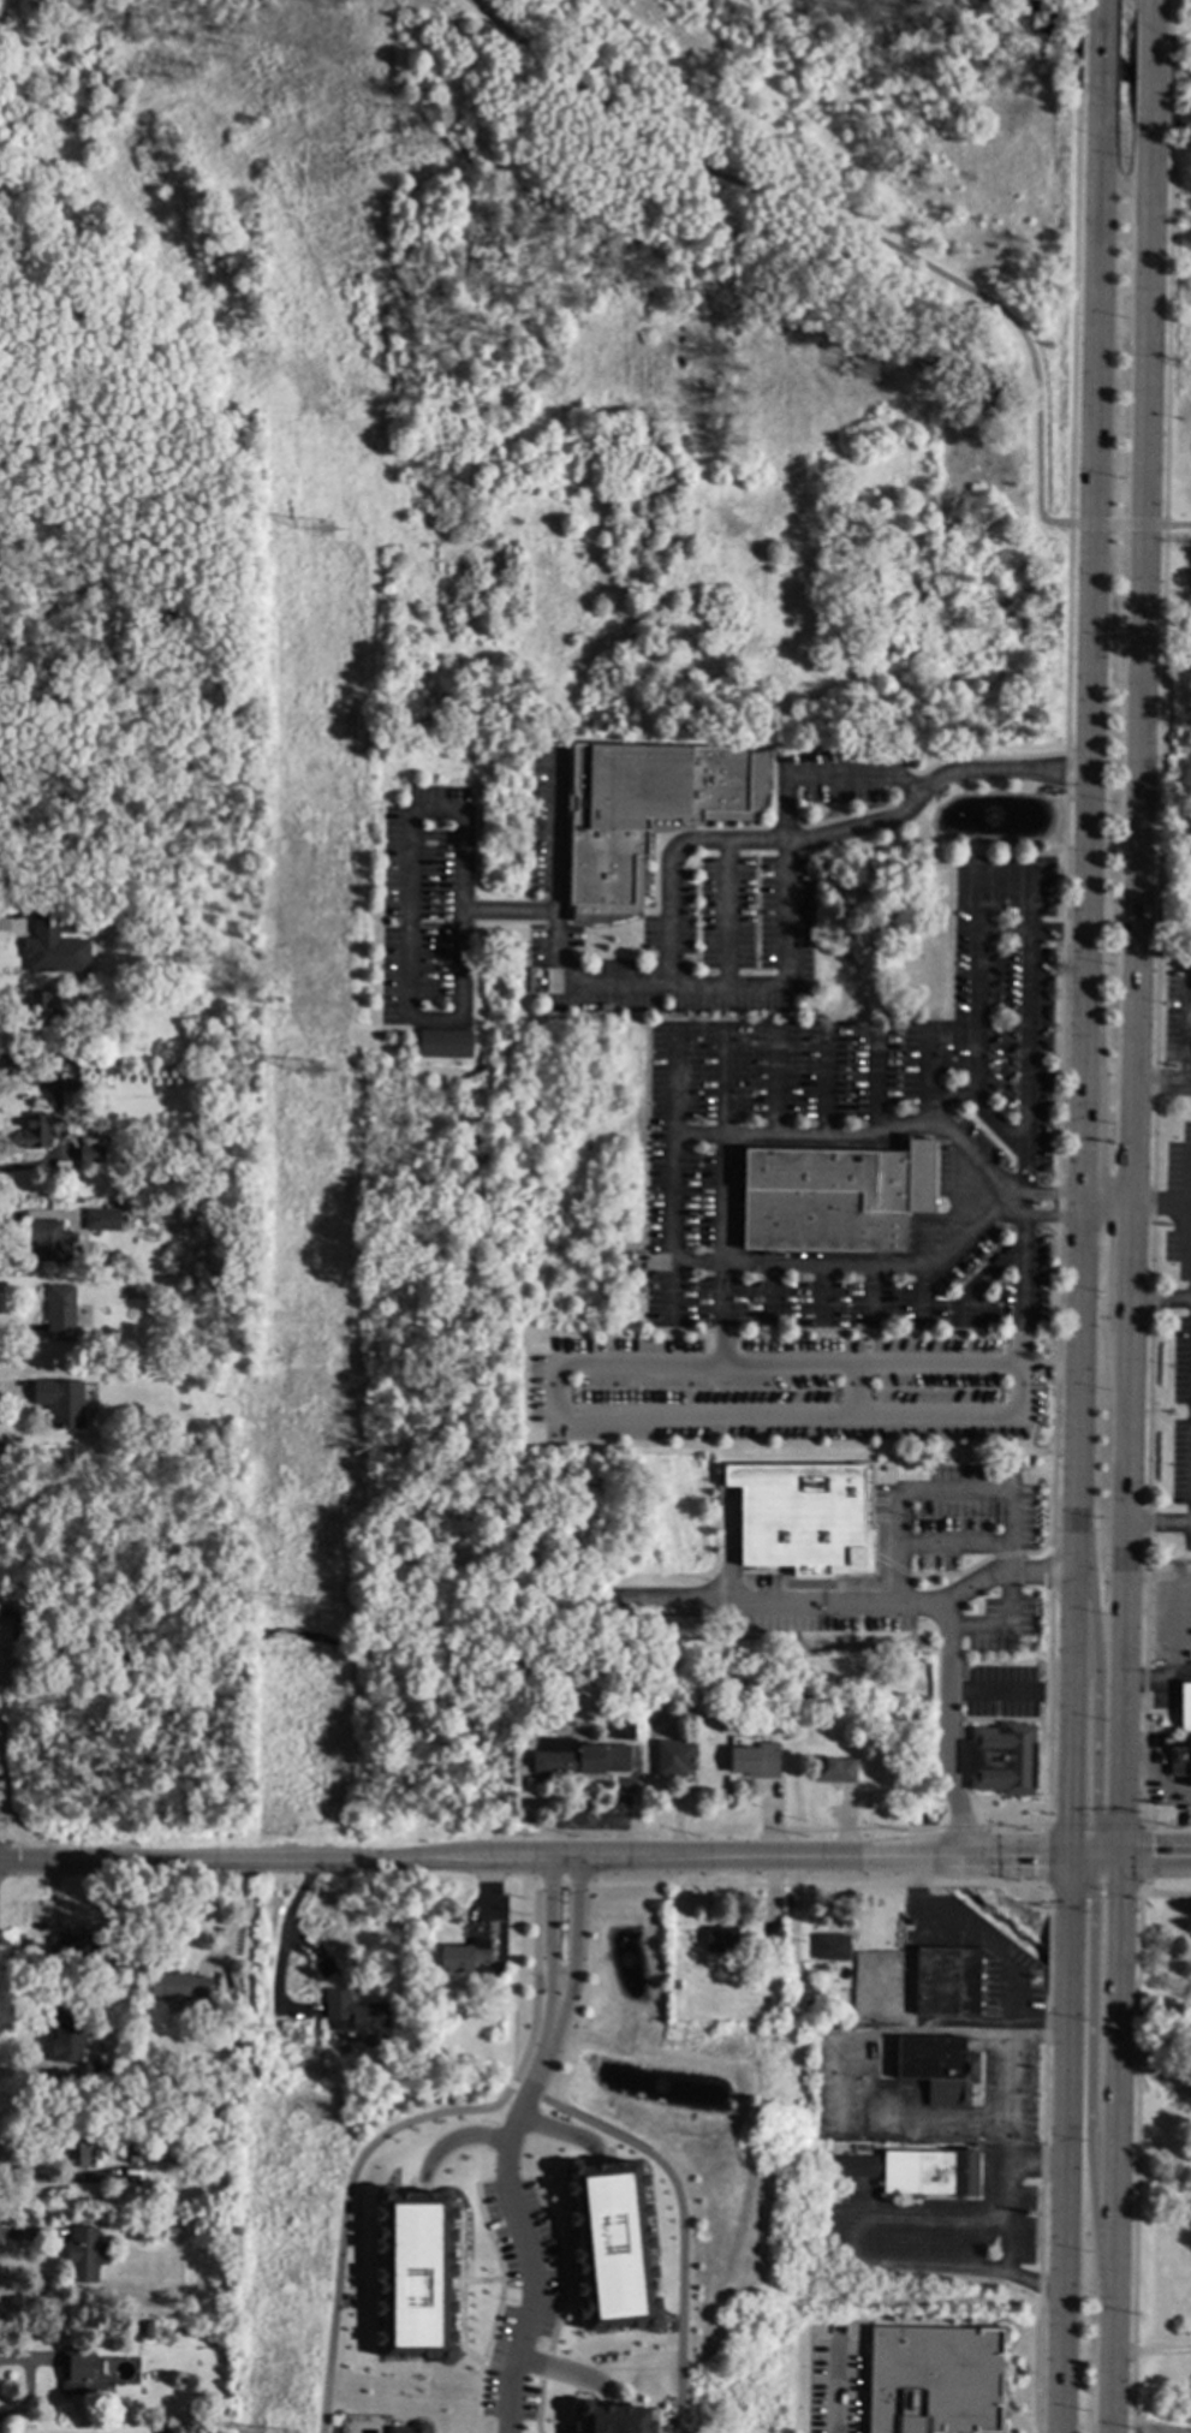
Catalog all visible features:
power tower: (339, 0)
road: (1156, 14)
river: (1116, 32)
road: (1102, 48)
road: (1154, 79)
road: (838, 221)
park: (520, 383)
road: (1115, 524)
road: (1174, 524)
park: (1174, 529)
power tower: (328, 531)
road: (1092, 644)
road: (1143, 661)
road: (826, 774)
building: (647, 813)
road: (553, 831)
road: (668, 863)
road: (1025, 902)
building: (67, 921)
building: (46, 922)
road: (1001, 933)
road: (782, 936)
building: (48, 957)
building: (53, 1004)
road: (458, 1016)
building: (445, 1043)
power tower: (318, 1070)
road: (923, 1070)
building: (69, 1084)
road: (725, 1084)
road: (1163, 1084)
road: (824, 1085)
road: (773, 1089)
road: (933, 1096)
road: (874, 1097)
building: (37, 1134)
road: (1013, 1138)
road: (827, 1141)
building: (90, 1153)
road: (1019, 1176)
road: (1108, 1192)
road: (1084, 1194)
road: (1048, 1195)
road: (1161, 1197)
building: (834, 1200)
road: (1083, 1206)
road: (1047, 1216)
building: (103, 1220)
building: (47, 1241)
building: (625, 1262)
road: (728, 1268)
road: (1161, 1299)
building: (61, 1314)
road: (721, 1319)
road: (1048, 1366)
road: (591, 1367)
building: (60, 1402)
building: (957, 1427)
building: (877, 1432)
building: (799, 1513)
road: (1159, 1523)
road: (791, 1599)
power tower: (306, 1608)
road: (1174, 1648)
park: (99, 1652)
road: (949, 1668)
building: (1184, 1707)
building: (650, 1721)
building: (623, 1726)
road: (1091, 1732)
building: (580, 1759)
building: (674, 1759)
building: (1002, 1759)
building: (755, 1762)
building: (1181, 1762)
building: (834, 1771)
road: (1154, 1772)
road: (1121, 1813)
road: (1094, 1819)
road: (1147, 1821)
road: (1071, 1825)
road: (1012, 1826)
road: (858, 1827)
road: (960, 1827)
road: (1040, 1856)
road: (560, 1857)
road: (1156, 1857)
traffic signals: (1071, 1858)
traffic signals: (1121, 1858)
road: (1145, 1860)
road: (560, 1885)
road: (1091, 1893)
road: (1166, 1893)
road: (549, 1916)
road: (576, 1916)
road: (234, 1921)
road: (1048, 1932)
building: (721, 1941)
road: (281, 1945)
building: (77, 1947)
building: (833, 1949)
building: (468, 1950)
building: (770, 1956)
building: (323, 1968)
road: (560, 1974)
building: (50, 1982)
building: (947, 1983)
building: (677, 1986)
building: (178, 1987)
road: (549, 2004)
road: (561, 2004)
building: (773, 2005)
building: (355, 2013)
building: (814, 2016)
road: (1040, 2029)
road: (1091, 2030)
building: (395, 2033)
building: (65, 2036)
power tower: (300, 2038)
building: (239, 2042)
road: (1012, 2045)
building: (385, 2064)
building: (939, 2070)
road: (525, 2090)
road: (398, 2125)
road: (562, 2131)
road: (453, 2138)
building: (130, 2152)
building: (79, 2154)
park: (1162, 2155)
road: (1135, 2161)
road: (1037, 2163)
road: (1089, 2164)
building: (918, 2171)
building: (154, 2196)
road: (681, 2226)
road: (520, 2230)
building: (139, 2232)
road: (854, 2244)
building: (613, 2245)
building: (85, 2255)
road: (561, 2264)
building: (415, 2274)
road: (1038, 2286)
road: (498, 2307)
building: (148, 2332)
road: (1150, 2350)
road: (543, 2364)
road: (498, 2367)
road: (566, 2372)
building: (79, 2375)
building: (934, 2380)
parking lot: (835, 2386)
road: (836, 2387)
road: (537, 2405)
building: (611, 2419)
road: (1060, 2426)
building: (411, 2428)

